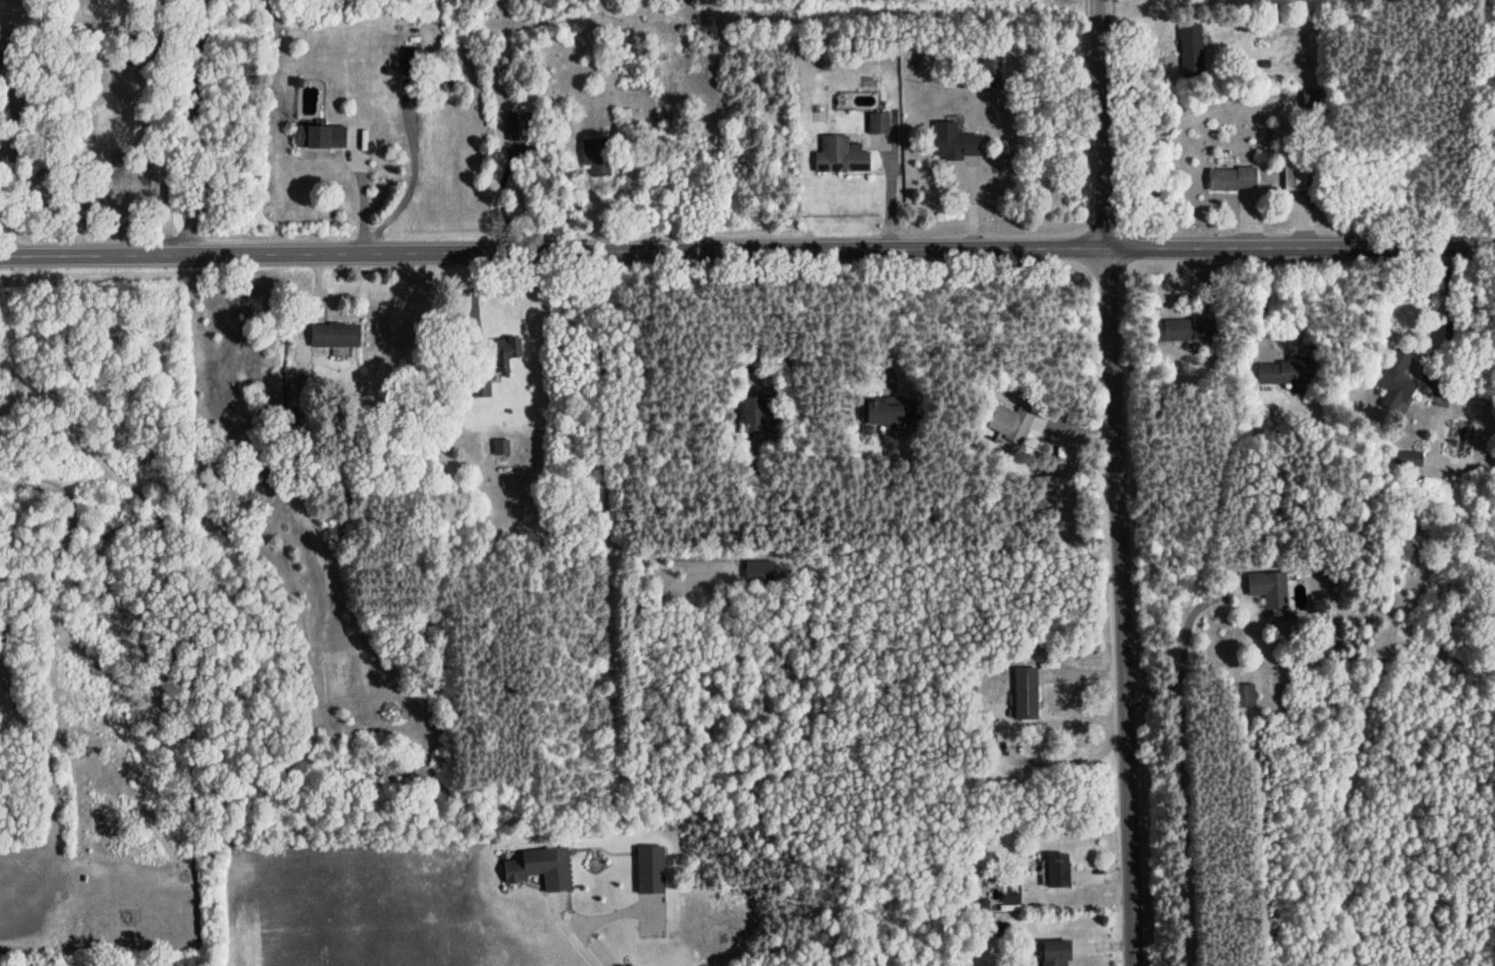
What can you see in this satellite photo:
building: (1190, 46)
building: (413, 52)
building: (989, 71)
building: (1312, 98)
road: (1203, 114)
building: (627, 115)
building: (877, 122)
building: (516, 125)
road: (74, 126)
road: (200, 126)
road: (162, 127)
building: (319, 136)
building: (953, 141)
building: (595, 155)
building: (840, 155)
road: (13, 170)
building: (1296, 174)
road: (409, 175)
building: (1231, 178)
road: (360, 194)
road: (747, 249)
road: (479, 308)
road: (888, 310)
road: (741, 312)
road: (1449, 323)
building: (1178, 329)
building: (333, 334)
building: (504, 353)
building: (1283, 371)
building: (1395, 380)
building: (481, 387)
building: (885, 410)
building: (754, 414)
building: (1009, 422)
road: (1063, 422)
building: (501, 446)
building: (1406, 458)
road: (1120, 482)
building: (1047, 493)
building: (759, 569)
building: (1267, 587)
road: (1182, 648)
road: (2, 654)
building: (1025, 693)
building: (1243, 695)
building: (541, 867)
building: (650, 869)
building: (1056, 870)
building: (1011, 893)
road: (584, 949)
building: (1054, 953)

